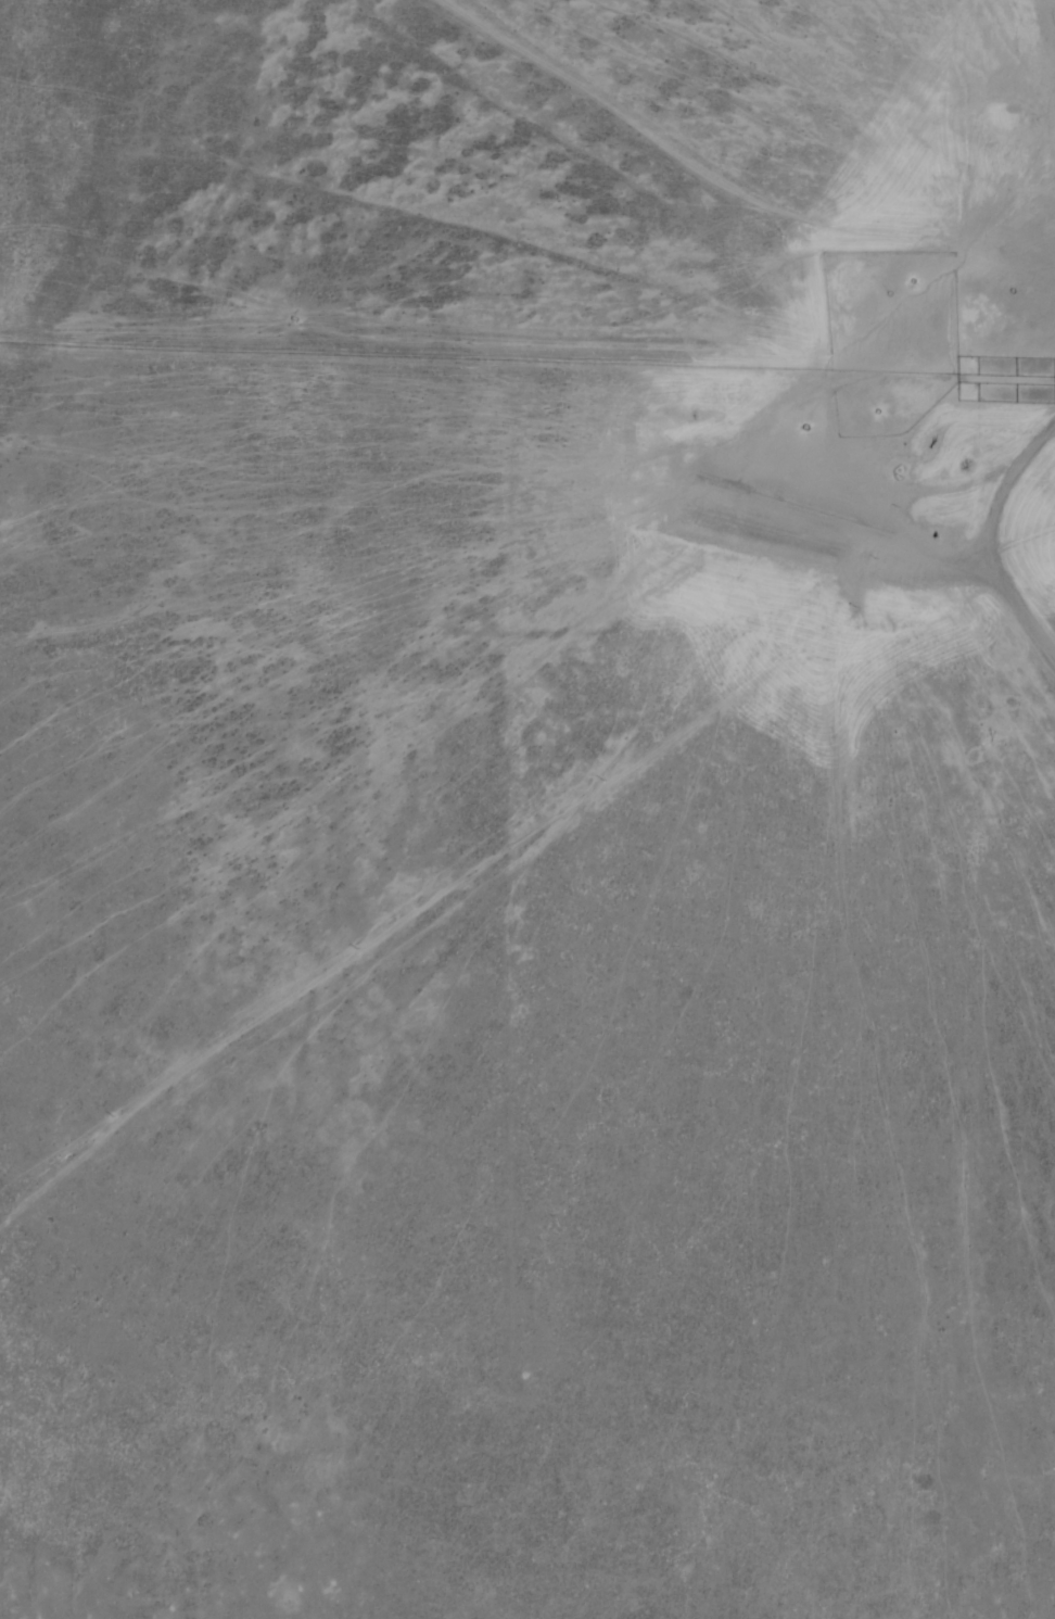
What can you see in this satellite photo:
road: (1031, 529)
road: (533, 826)

